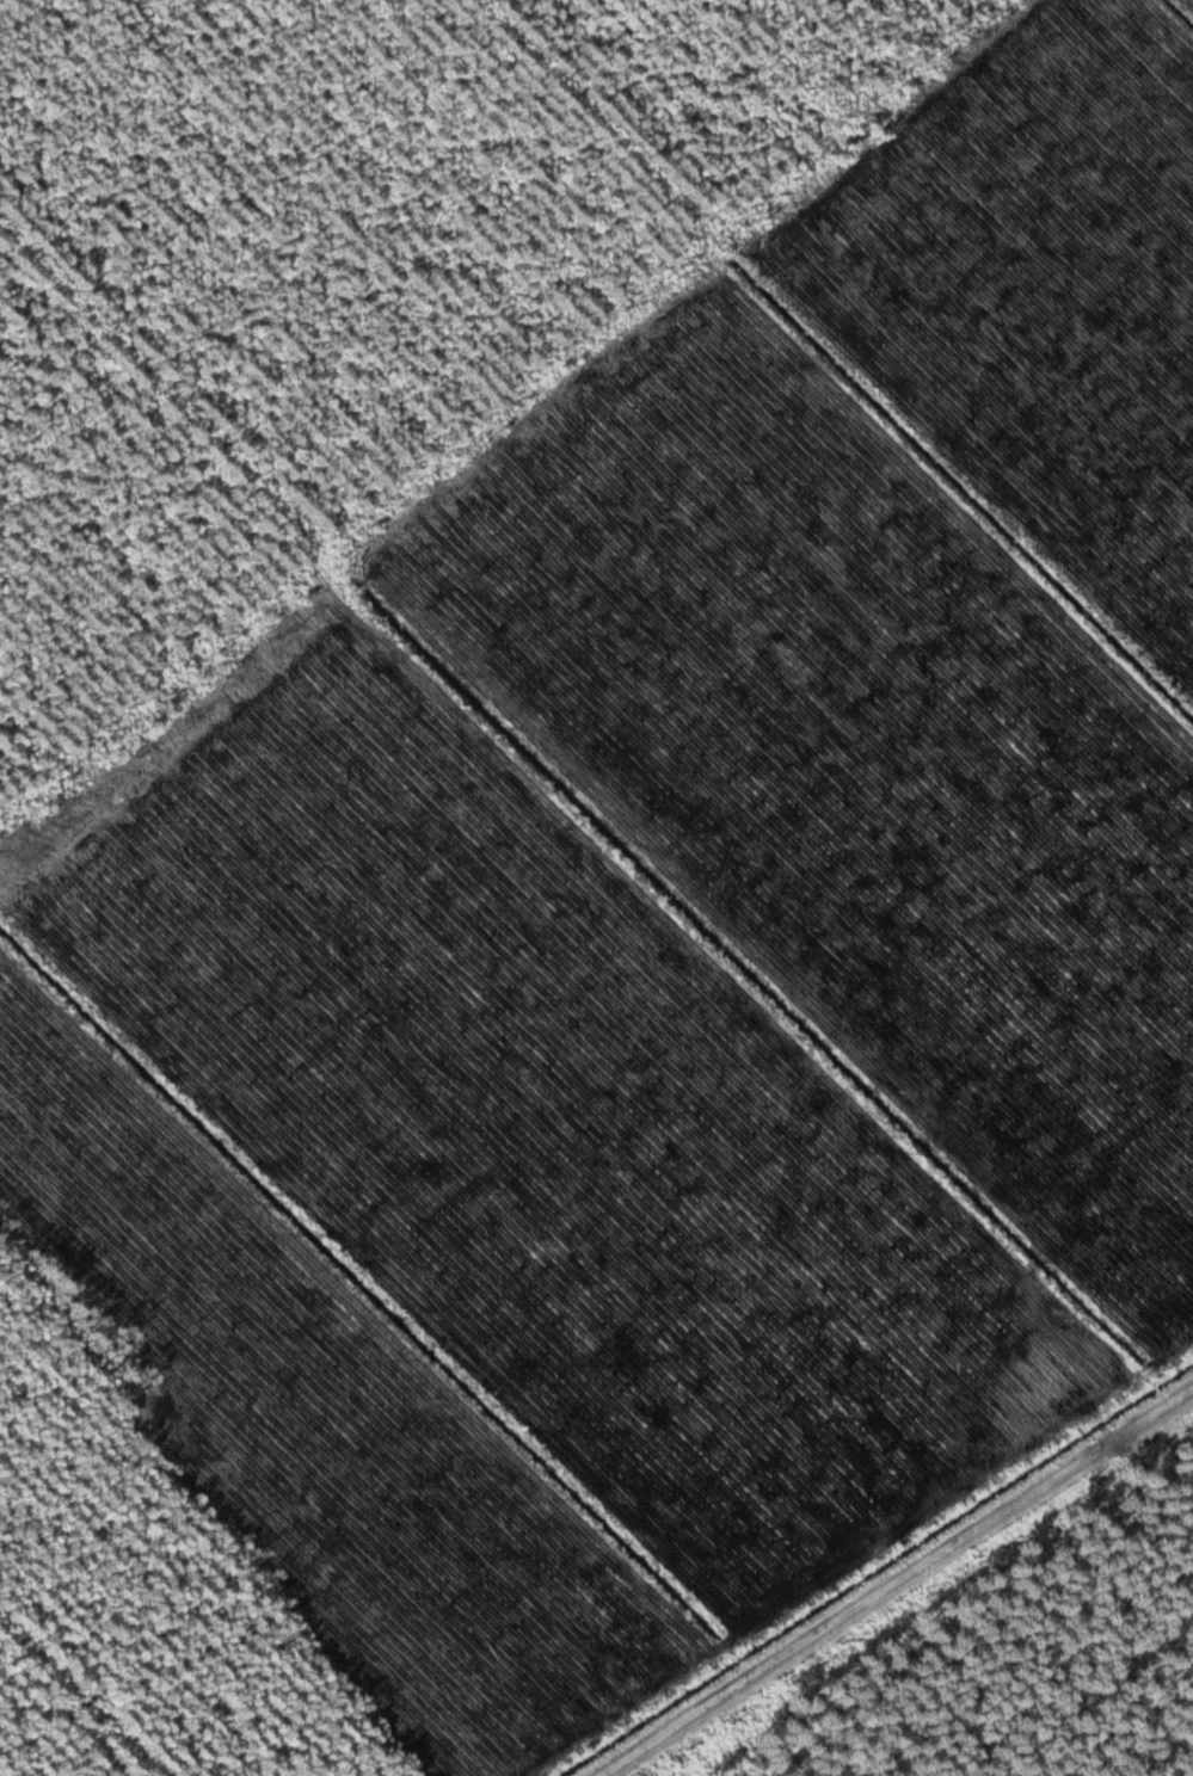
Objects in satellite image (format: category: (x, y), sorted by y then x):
road: (897, 1583)

